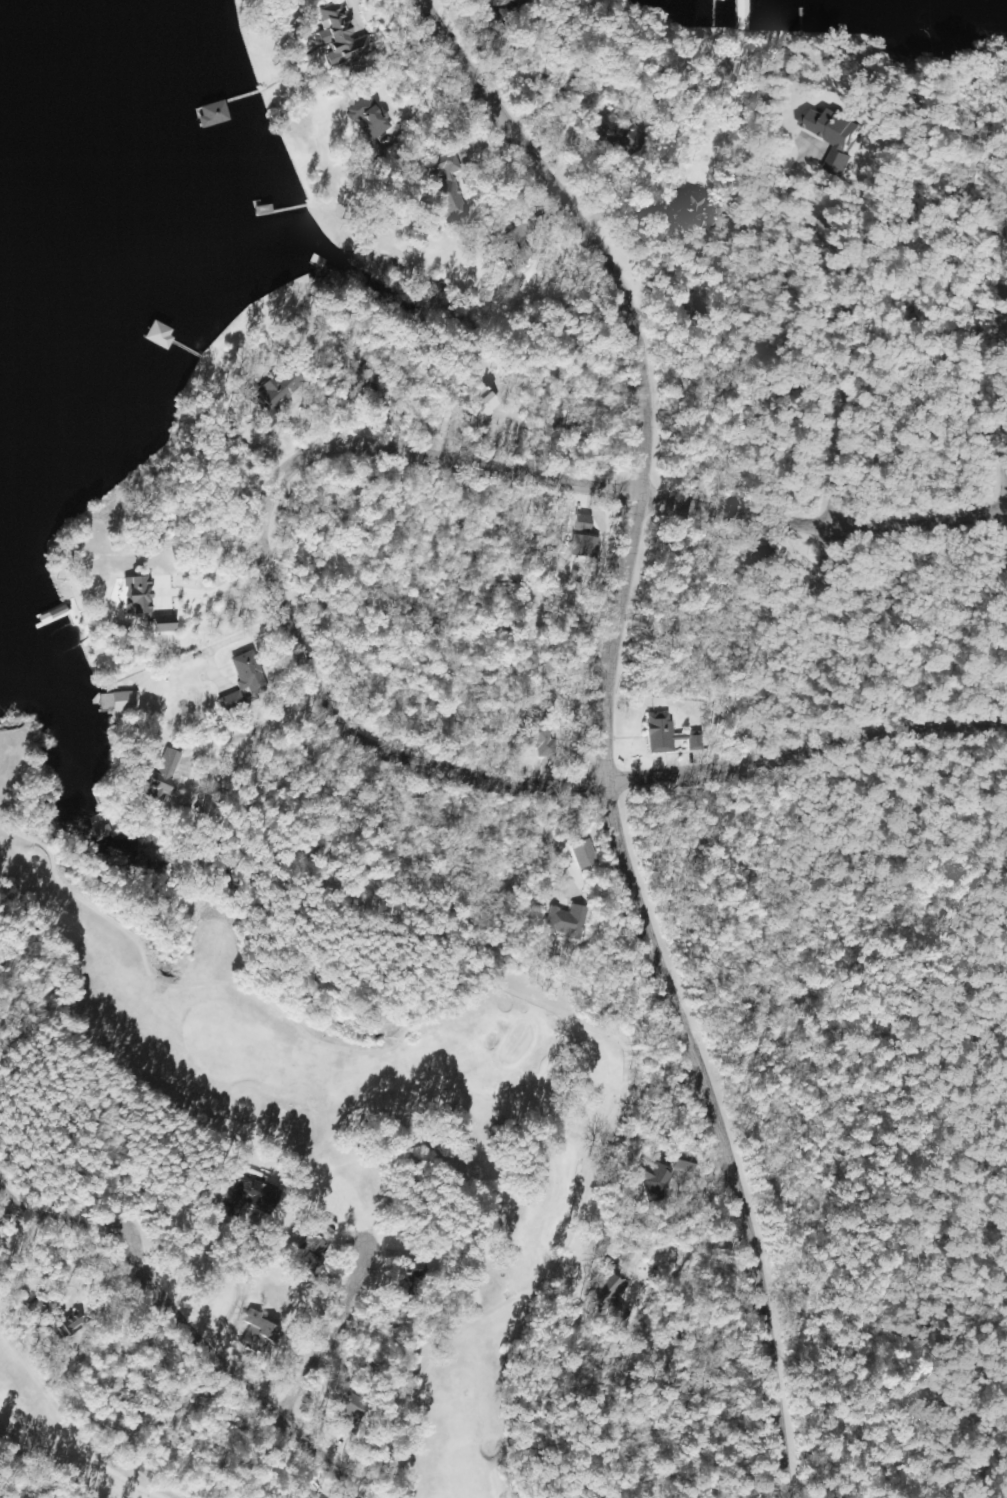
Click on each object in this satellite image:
building: (718, 0)
building: (739, 15)
building: (338, 35)
building: (208, 115)
building: (366, 119)
building: (592, 126)
building: (827, 136)
building: (439, 164)
building: (448, 202)
building: (681, 209)
building: (516, 246)
building: (423, 295)
road: (667, 307)
road: (987, 329)
building: (264, 392)
road: (802, 457)
road: (289, 525)
building: (759, 560)
building: (133, 596)
building: (158, 625)
building: (243, 671)
building: (228, 702)
building: (114, 703)
road: (796, 705)
building: (663, 737)
road: (590, 748)
building: (154, 780)
building: (94, 836)
building: (562, 923)
building: (679, 1163)
building: (648, 1176)
building: (249, 1195)
road: (50, 1215)
building: (306, 1257)
building: (402, 1274)
building: (604, 1290)
road: (222, 1324)
building: (253, 1334)
road: (224, 1365)

